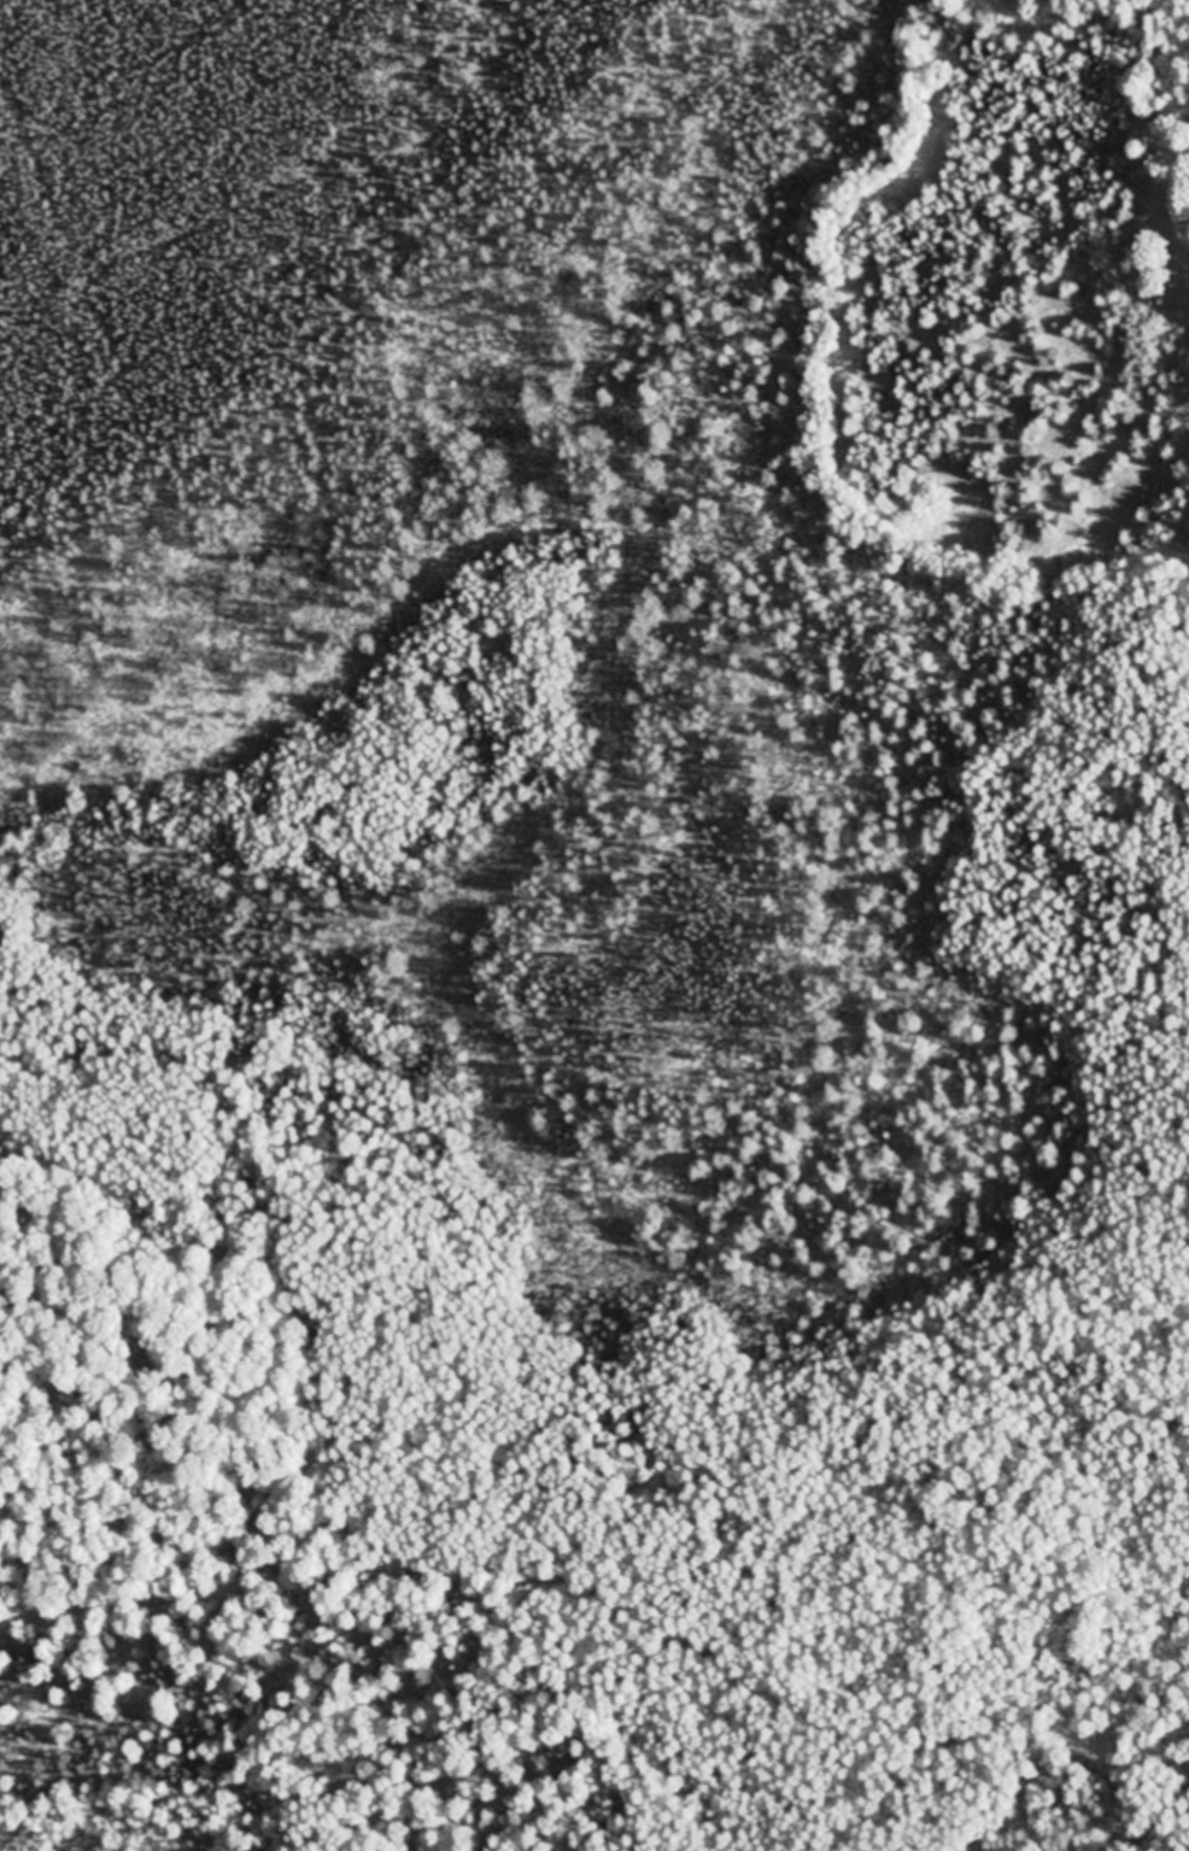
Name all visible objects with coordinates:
road: (1144, 1815)

